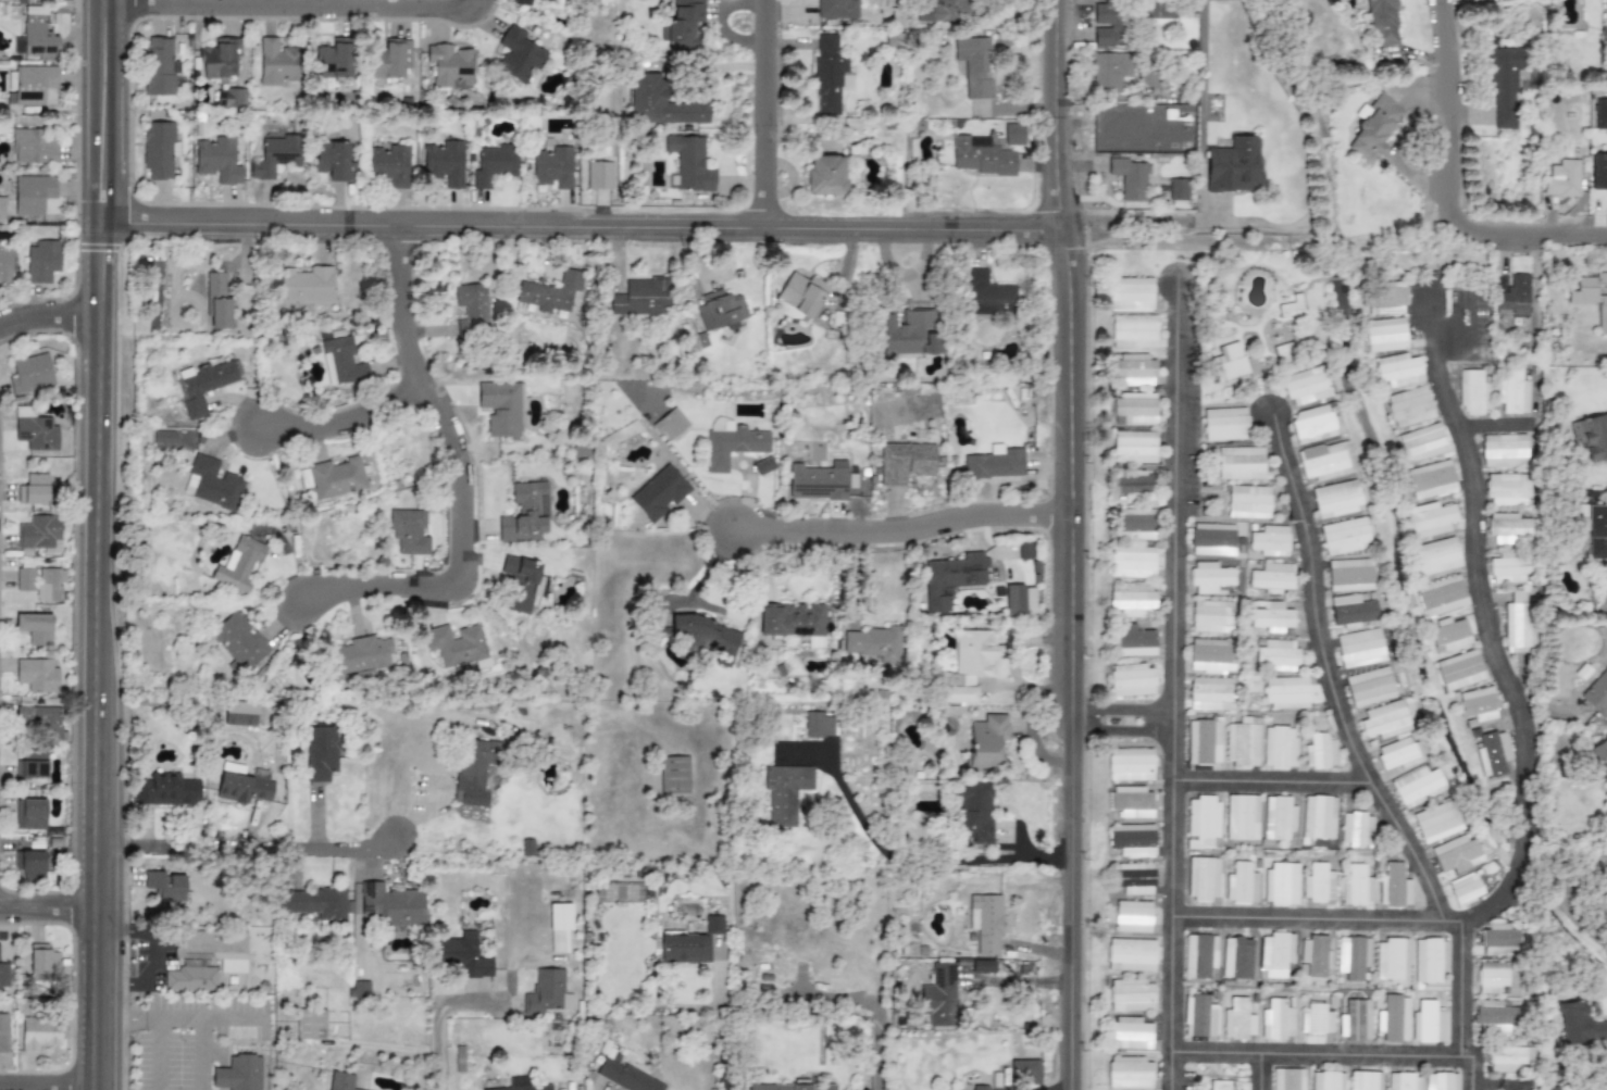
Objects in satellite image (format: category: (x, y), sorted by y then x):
building: (28, 0)
building: (547, 0)
building: (521, 2)
road: (289, 9)
building: (837, 9)
building: (1172, 10)
building: (942, 11)
building: (1606, 20)
building: (1381, 25)
building: (681, 26)
building: (1110, 27)
building: (36, 33)
building: (518, 55)
building: (336, 59)
building: (219, 60)
building: (390, 60)
building: (277, 63)
building: (450, 65)
building: (973, 65)
building: (161, 67)
building: (1111, 71)
building: (830, 76)
building: (1147, 76)
building: (33, 84)
building: (1504, 91)
building: (232, 99)
building: (659, 103)
road: (1201, 112)
road: (769, 114)
building: (1602, 115)
road: (1452, 117)
building: (1378, 125)
building: (1013, 134)
building: (32, 148)
building: (159, 150)
building: (275, 156)
building: (981, 156)
building: (217, 161)
building: (331, 161)
building: (444, 162)
building: (689, 163)
building: (494, 164)
building: (389, 165)
building: (553, 167)
building: (1235, 168)
building: (1598, 171)
building: (599, 175)
building: (825, 175)
building: (1131, 177)
building: (1562, 177)
building: (1179, 189)
building: (32, 193)
building: (1, 209)
road: (1151, 225)
road: (583, 228)
road: (1529, 237)
building: (42, 262)
building: (5, 267)
building: (307, 285)
building: (801, 293)
building: (1129, 293)
building: (550, 295)
building: (986, 297)
building: (641, 298)
building: (1515, 298)
building: (1382, 299)
building: (1573, 299)
building: (217, 302)
building: (1292, 309)
building: (471, 311)
building: (719, 311)
road: (49, 318)
building: (1602, 320)
building: (1134, 330)
building: (910, 335)
building: (1386, 337)
building: (1287, 352)
building: (342, 360)
building: (1233, 365)
building: (1133, 371)
building: (1399, 372)
building: (30, 374)
building: (1305, 385)
building: (202, 386)
building: (1513, 391)
building: (1472, 394)
road: (1448, 402)
building: (500, 408)
building: (1410, 408)
building: (1136, 411)
building: (670, 425)
building: (1224, 425)
building: (1315, 425)
building: (721, 426)
road: (360, 429)
building: (35, 430)
building: (163, 437)
building: (1592, 438)
building: (1423, 444)
building: (732, 447)
building: (1134, 448)
building: (1504, 450)
building: (905, 462)
building: (1325, 462)
building: (995, 463)
building: (1242, 464)
building: (763, 466)
building: (336, 478)
building: (1430, 480)
building: (819, 481)
road: (476, 484)
building: (214, 485)
building: (1137, 489)
building: (1509, 489)
building: (33, 490)
building: (659, 493)
building: (1337, 500)
building: (1250, 503)
building: (525, 514)
building: (1431, 519)
building: (1136, 525)
building: (1510, 528)
building: (1591, 530)
road: (905, 531)
building: (409, 533)
building: (39, 534)
building: (1345, 538)
building: (1214, 541)
building: (1269, 541)
road: (98, 544)
road: (1063, 544)
building: (1023, 552)
building: (1435, 557)
building: (1132, 563)
building: (1506, 568)
building: (1349, 575)
building: (25, 577)
building: (1210, 577)
building: (1271, 578)
building: (950, 579)
building: (522, 584)
building: (49, 585)
building: (1441, 596)
building: (1013, 600)
building: (1133, 601)
road: (1316, 601)
building: (1350, 610)
building: (1212, 617)
building: (1271, 617)
building: (794, 623)
building: (1518, 625)
building: (35, 628)
building: (1447, 635)
building: (705, 638)
building: (239, 641)
building: (1134, 641)
building: (873, 643)
building: (456, 644)
building: (1359, 649)
building: (1211, 655)
building: (1276, 655)
building: (359, 656)
building: (970, 664)
building: (1459, 671)
building: (37, 676)
building: (1131, 680)
building: (1369, 687)
building: (1285, 692)
building: (1211, 694)
road: (1174, 696)
building: (1595, 697)
building: (1477, 706)
road: (1120, 707)
building: (240, 714)
building: (1383, 721)
building: (39, 722)
building: (818, 725)
road: (1118, 729)
building: (987, 741)
building: (1242, 746)
building: (1279, 748)
building: (1319, 751)
building: (321, 753)
building: (1397, 753)
building: (1493, 754)
building: (1599, 759)
building: (1129, 764)
building: (32, 766)
building: (475, 770)
building: (674, 775)
road: (1350, 780)
building: (242, 785)
building: (1416, 786)
building: (164, 790)
building: (785, 791)
building: (1131, 802)
building: (973, 813)
building: (29, 815)
building: (1242, 817)
building: (1278, 817)
building: (1319, 817)
building: (1201, 822)
building: (1435, 822)
road: (1527, 828)
building: (1356, 829)
building: (1132, 840)
road: (248, 845)
building: (1456, 854)
road: (924, 863)
building: (30, 865)
building: (1134, 878)
building: (1201, 878)
building: (1281, 884)
building: (1318, 884)
building: (1241, 885)
building: (164, 886)
building: (1357, 886)
building: (1463, 889)
building: (315, 903)
building: (390, 905)
road: (1566, 906)
road: (47, 909)
building: (1131, 916)
building: (985, 922)
building: (713, 925)
building: (559, 927)
road: (116, 931)
building: (1498, 940)
building: (214, 949)
building: (685, 949)
building: (1275, 954)
building: (464, 955)
building: (1130, 955)
building: (1315, 955)
building: (1198, 956)
building: (1353, 956)
road: (152, 957)
building: (1236, 959)
building: (1391, 959)
building: (1429, 960)
building: (42, 961)
building: (3, 977)
building: (1491, 977)
building: (191, 978)
road: (114, 981)
building: (359, 989)
road: (1462, 990)
building: (546, 992)
building: (939, 993)
building: (1130, 995)
building: (1494, 1013)
building: (1200, 1016)
road: (437, 1017)
building: (1393, 1018)
building: (1237, 1019)
building: (1316, 1019)
building: (1276, 1020)
building: (1355, 1020)
road: (720, 1023)
building: (1427, 1023)
building: (310, 1024)
building: (1579, 1024)
building: (1492, 1028)
building: (3, 1033)
building: (39, 1033)
building: (1129, 1033)
road: (877, 1036)
road: (1338, 1055)
building: (1508, 1058)
building: (1024, 1072)
road: (1262, 1072)
building: (238, 1074)
building: (1129, 1074)
building: (624, 1076)
building: (1287, 1079)
building: (1326, 1080)
building: (1365, 1080)
building: (339, 1081)
building: (1403, 1081)
building: (1440, 1081)
road: (46, 1085)
building: (520, 1085)
building: (790, 1087)
building: (979, 1088)
building: (1581, 1088)

